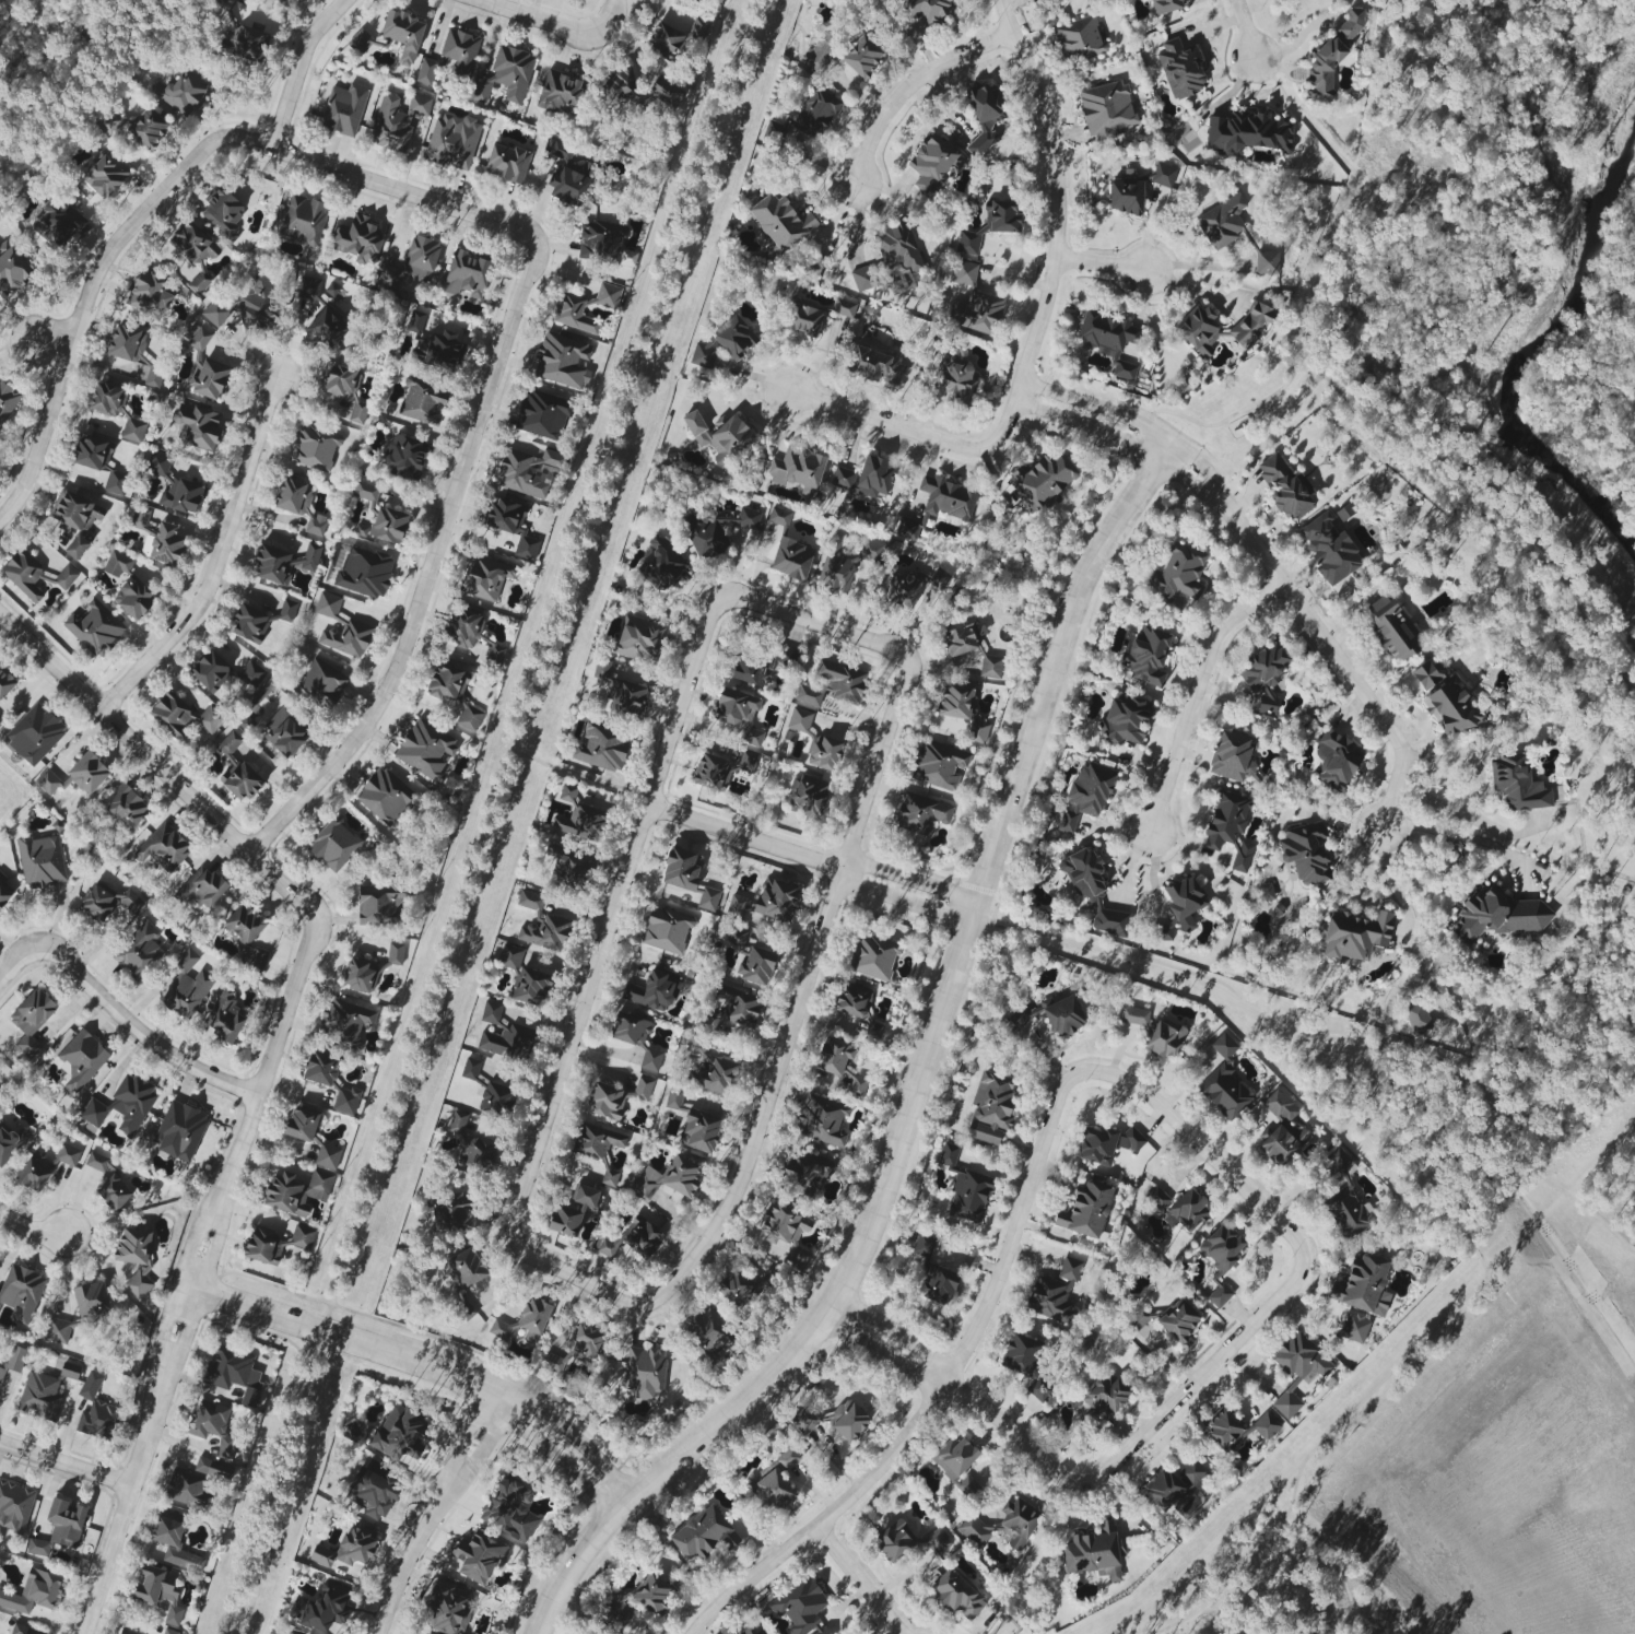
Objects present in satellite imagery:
building: (699, 0)
building: (284, 2)
building: (225, 5)
building: (1166, 5)
building: (927, 11)
road: (553, 25)
road: (1243, 28)
building: (403, 33)
building: (1078, 40)
building: (361, 42)
building: (666, 42)
building: (245, 43)
building: (460, 50)
building: (820, 55)
building: (862, 56)
road: (298, 66)
building: (1180, 69)
building: (426, 71)
building: (506, 75)
road: (910, 84)
building: (619, 85)
building: (184, 92)
building: (666, 92)
building: (344, 109)
building: (1106, 109)
building: (816, 111)
building: (985, 116)
building: (390, 126)
building: (148, 128)
building: (1247, 133)
building: (452, 141)
building: (507, 163)
building: (933, 163)
building: (104, 175)
building: (568, 175)
building: (1163, 175)
road: (385, 181)
road: (1056, 195)
building: (1126, 197)
building: (223, 213)
road: (1334, 214)
building: (302, 221)
building: (1222, 222)
building: (56, 223)
building: (779, 223)
building: (990, 225)
building: (358, 240)
building: (603, 245)
building: (195, 252)
building: (423, 256)
building: (887, 258)
building: (1267, 262)
road: (1102, 265)
building: (11, 268)
building: (964, 273)
building: (467, 274)
building: (389, 277)
road: (90, 286)
building: (308, 287)
park: (1614, 287)
building: (334, 291)
building: (608, 295)
building: (149, 296)
building: (258, 301)
building: (844, 307)
building: (219, 310)
building: (976, 313)
building: (574, 314)
river: (1416, 317)
building: (803, 320)
building: (415, 321)
building: (1251, 322)
building: (327, 329)
building: (1199, 329)
building: (200, 340)
building: (1109, 340)
building: (726, 342)
building: (127, 343)
road: (34, 345)
park: (1539, 349)
building: (438, 350)
building: (562, 360)
building: (874, 365)
building: (153, 377)
building: (208, 378)
building: (956, 378)
building: (345, 389)
building: (106, 399)
building: (7, 401)
building: (423, 402)
building: (542, 415)
road: (884, 422)
road: (1003, 422)
road: (1618, 423)
road: (1136, 424)
building: (197, 425)
building: (133, 431)
building: (719, 436)
road: (1126, 440)
building: (314, 448)
building: (404, 456)
building: (101, 463)
building: (158, 463)
building: (798, 468)
building: (526, 472)
building: (866, 478)
building: (1044, 482)
building: (1285, 487)
building: (366, 493)
building: (180, 495)
building: (299, 504)
building: (939, 505)
building: (72, 513)
building: (778, 517)
building: (748, 518)
building: (388, 526)
building: (511, 526)
building: (705, 537)
building: (160, 541)
road: (438, 546)
building: (77, 548)
building: (1329, 549)
road: (217, 559)
building: (790, 560)
building: (284, 562)
building: (118, 564)
building: (660, 564)
building: (364, 573)
building: (23, 575)
road: (1054, 575)
building: (1178, 576)
building: (66, 577)
building: (484, 577)
building: (939, 579)
building: (903, 590)
building: (133, 598)
building: (258, 621)
road: (815, 623)
building: (354, 624)
building: (463, 627)
building: (95, 628)
building: (1392, 628)
building: (961, 637)
building: (639, 638)
building: (1148, 655)
road: (1341, 663)
building: (761, 666)
building: (991, 667)
building: (210, 672)
building: (251, 674)
building: (1426, 674)
building: (1265, 678)
building: (5, 682)
building: (322, 684)
building: (833, 685)
building: (454, 693)
road: (1198, 693)
building: (626, 700)
building: (1450, 708)
building: (963, 710)
building: (739, 714)
building: (184, 718)
building: (799, 720)
building: (1126, 720)
building: (1, 722)
building: (35, 733)
building: (284, 733)
building: (425, 748)
building: (602, 748)
building: (823, 752)
building: (1233, 756)
building: (1337, 760)
building: (748, 763)
building: (941, 763)
road: (158, 764)
building: (237, 769)
building: (711, 772)
building: (87, 773)
road: (575, 774)
building: (48, 781)
building: (1517, 784)
building: (567, 794)
building: (1087, 794)
building: (384, 797)
building: (809, 797)
building: (126, 807)
building: (921, 812)
building: (581, 823)
road: (490, 824)
building: (1230, 828)
road: (1459, 836)
road: (744, 837)
building: (333, 844)
building: (163, 848)
building: (1305, 853)
building: (42, 861)
building: (569, 868)
building: (682, 869)
road: (911, 881)
road: (1392, 884)
building: (200, 890)
building: (1092, 891)
building: (708, 898)
building: (774, 900)
building: (1185, 901)
road: (905, 902)
building: (107, 903)
building: (378, 905)
building: (737, 905)
building: (1498, 916)
road: (608, 918)
building: (542, 925)
building: (667, 930)
building: (1163, 932)
building: (246, 933)
building: (1355, 934)
building: (139, 951)
building: (395, 954)
building: (509, 956)
building: (873, 957)
building: (756, 966)
road: (1169, 966)
building: (360, 975)
building: (530, 986)
building: (186, 988)
building: (654, 990)
road: (801, 999)
building: (855, 1000)
building: (33, 1010)
building: (225, 1015)
building: (492, 1015)
building: (1063, 1015)
building: (1134, 1016)
building: (1416, 1018)
road: (122, 1019)
building: (345, 1022)
building: (631, 1028)
building: (1165, 1038)
building: (504, 1042)
building: (28, 1047)
building: (81, 1059)
building: (651, 1060)
building: (842, 1066)
building: (321, 1069)
building: (470, 1069)
building: (710, 1071)
road: (920, 1081)
building: (1224, 1082)
building: (1, 1084)
building: (496, 1098)
building: (615, 1098)
building: (674, 1098)
building: (346, 1101)
building: (122, 1105)
road: (1530, 1108)
building: (990, 1109)
building: (822, 1120)
building: (458, 1121)
building: (302, 1124)
building: (179, 1130)
building: (699, 1131)
building: (1281, 1131)
road: (1190, 1136)
building: (11, 1143)
building: (1106, 1143)
building: (478, 1153)
building: (327, 1156)
building: (98, 1162)
building: (45, 1166)
building: (804, 1174)
building: (669, 1178)
building: (965, 1188)
building: (114, 1191)
building: (296, 1191)
building: (1157, 1198)
building: (1345, 1199)
building: (1085, 1210)
building: (1187, 1210)
building: (573, 1211)
building: (455, 1212)
road: (30, 1229)
road: (1013, 1232)
building: (788, 1233)
building: (302, 1237)
building: (632, 1237)
building: (266, 1246)
building: (1221, 1260)
building: (137, 1261)
building: (468, 1268)
road: (577, 1276)
road: (199, 1277)
building: (938, 1285)
building: (1364, 1285)
building: (736, 1288)
road: (1469, 1290)
building: (21, 1293)
building: (1055, 1293)
building: (91, 1301)
building: (1139, 1318)
building: (533, 1319)
building: (1179, 1319)
building: (1353, 1328)
building: (502, 1330)
building: (57, 1331)
building: (707, 1333)
road: (894, 1335)
road: (350, 1340)
building: (584, 1341)
road: (883, 1354)
building: (1301, 1357)
building: (15, 1359)
building: (1027, 1364)
building: (1, 1371)
building: (70, 1371)
building: (645, 1372)
building: (234, 1374)
road: (527, 1376)
road: (1200, 1377)
building: (39, 1397)
building: (1104, 1397)
building: (1290, 1398)
building: (96, 1411)
building: (212, 1426)
road: (469, 1426)
road: (1010, 1429)
building: (1237, 1430)
building: (398, 1434)
road: (487, 1438)
road: (575, 1439)
road: (557, 1458)
building: (957, 1463)
road: (64, 1465)
building: (214, 1469)
building: (774, 1482)
building: (1174, 1484)
building: (184, 1486)
building: (374, 1493)
building: (14, 1506)
building: (510, 1510)
road: (831, 1518)
building: (1003, 1525)
building: (59, 1528)
building: (703, 1536)
building: (896, 1541)
building: (938, 1541)
building: (174, 1544)
building: (349, 1549)
road: (413, 1549)
building: (1095, 1552)
road: (539, 1554)
road: (860, 1580)
building: (157, 1591)
building: (33, 1592)
building: (957, 1594)
building: (651, 1595)
building: (801, 1607)
building: (448, 1609)
building: (617, 1609)
building: (324, 1610)
building: (24, 1630)
building: (748, 1631)
building: (128, 1632)
building: (169, 1632)

